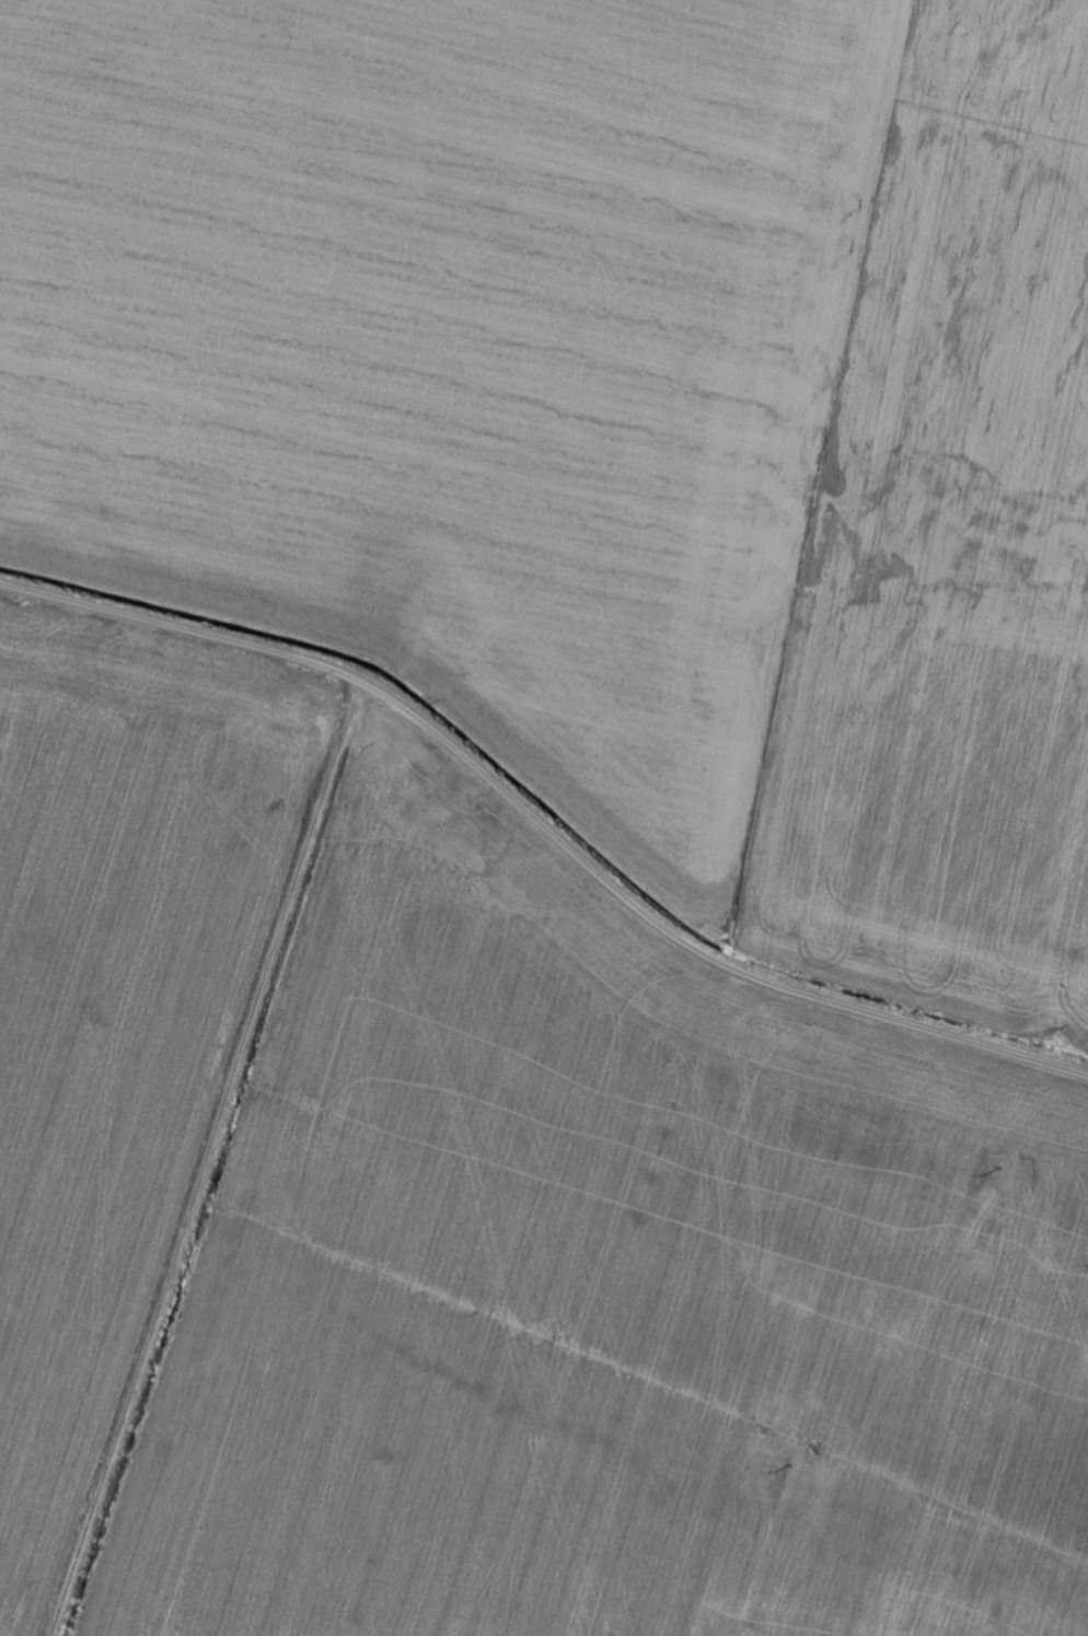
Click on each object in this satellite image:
road: (545, 824)
road: (202, 1159)

